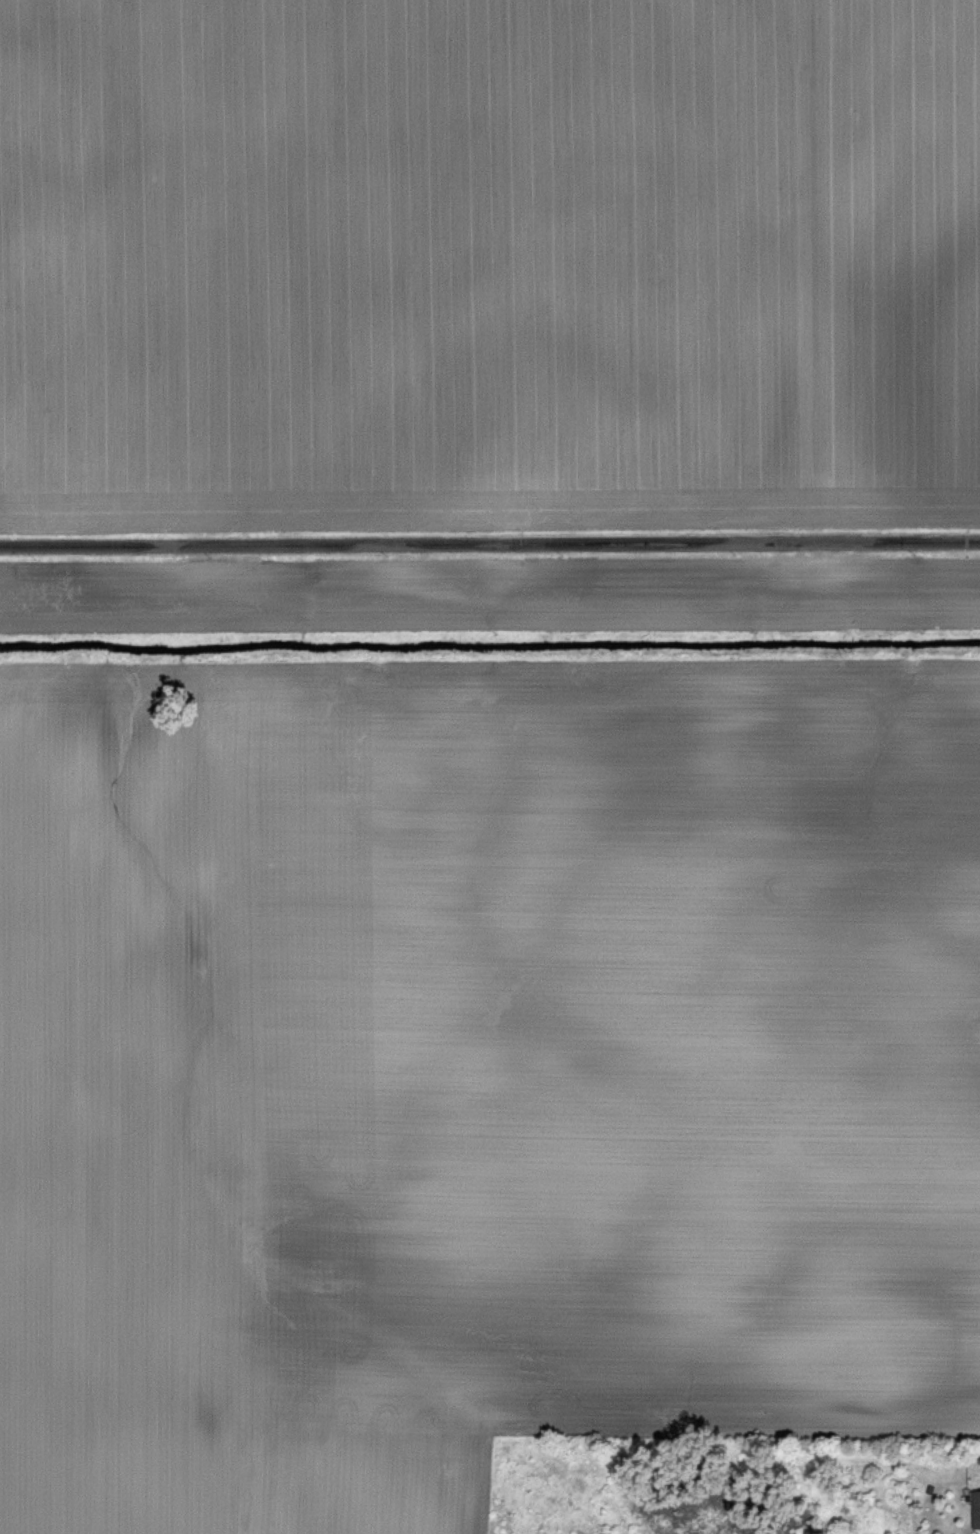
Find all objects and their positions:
road: (490, 543)
building: (976, 1509)

